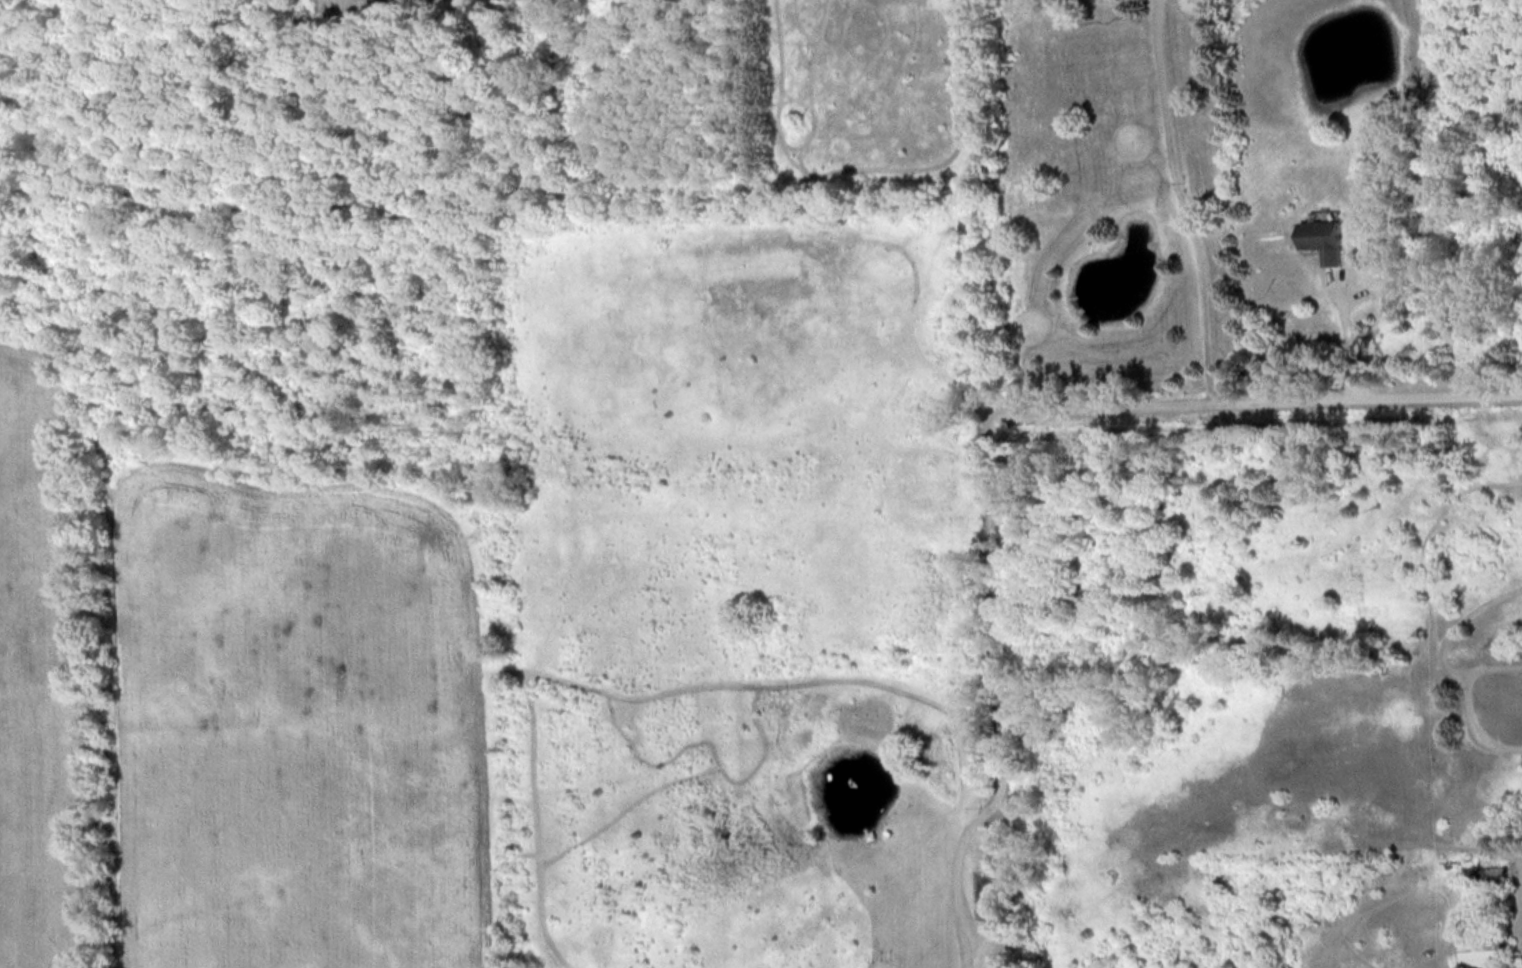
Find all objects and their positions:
road: (1174, 199)
building: (1320, 239)
road: (1345, 336)
road: (1269, 394)
road: (993, 687)
building: (1497, 877)
building: (1491, 948)

